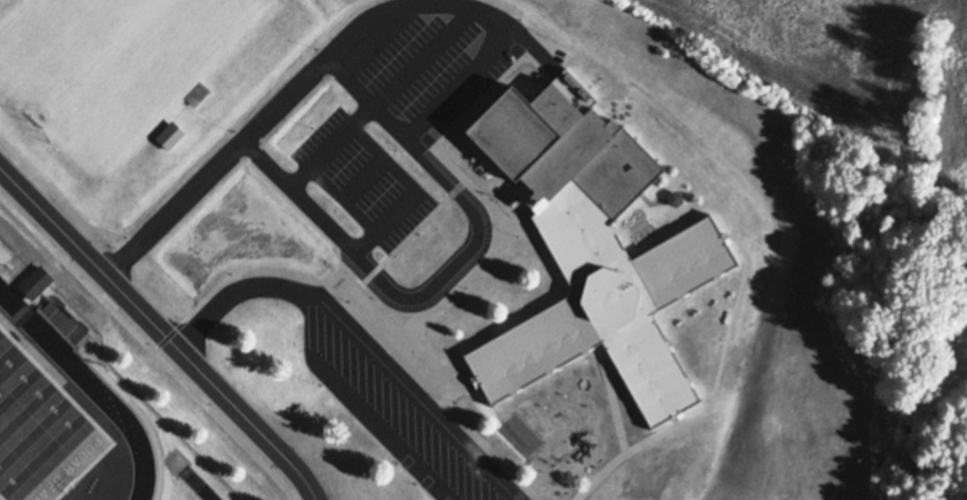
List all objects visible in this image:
road: (483, 13)
park: (116, 69)
building: (169, 136)
road: (328, 144)
road: (396, 215)
building: (591, 250)
building: (36, 283)
road: (416, 291)
road: (222, 294)
road: (311, 294)
building: (65, 321)
road: (160, 332)
track: (89, 387)
park: (54, 430)
track: (54, 430)

